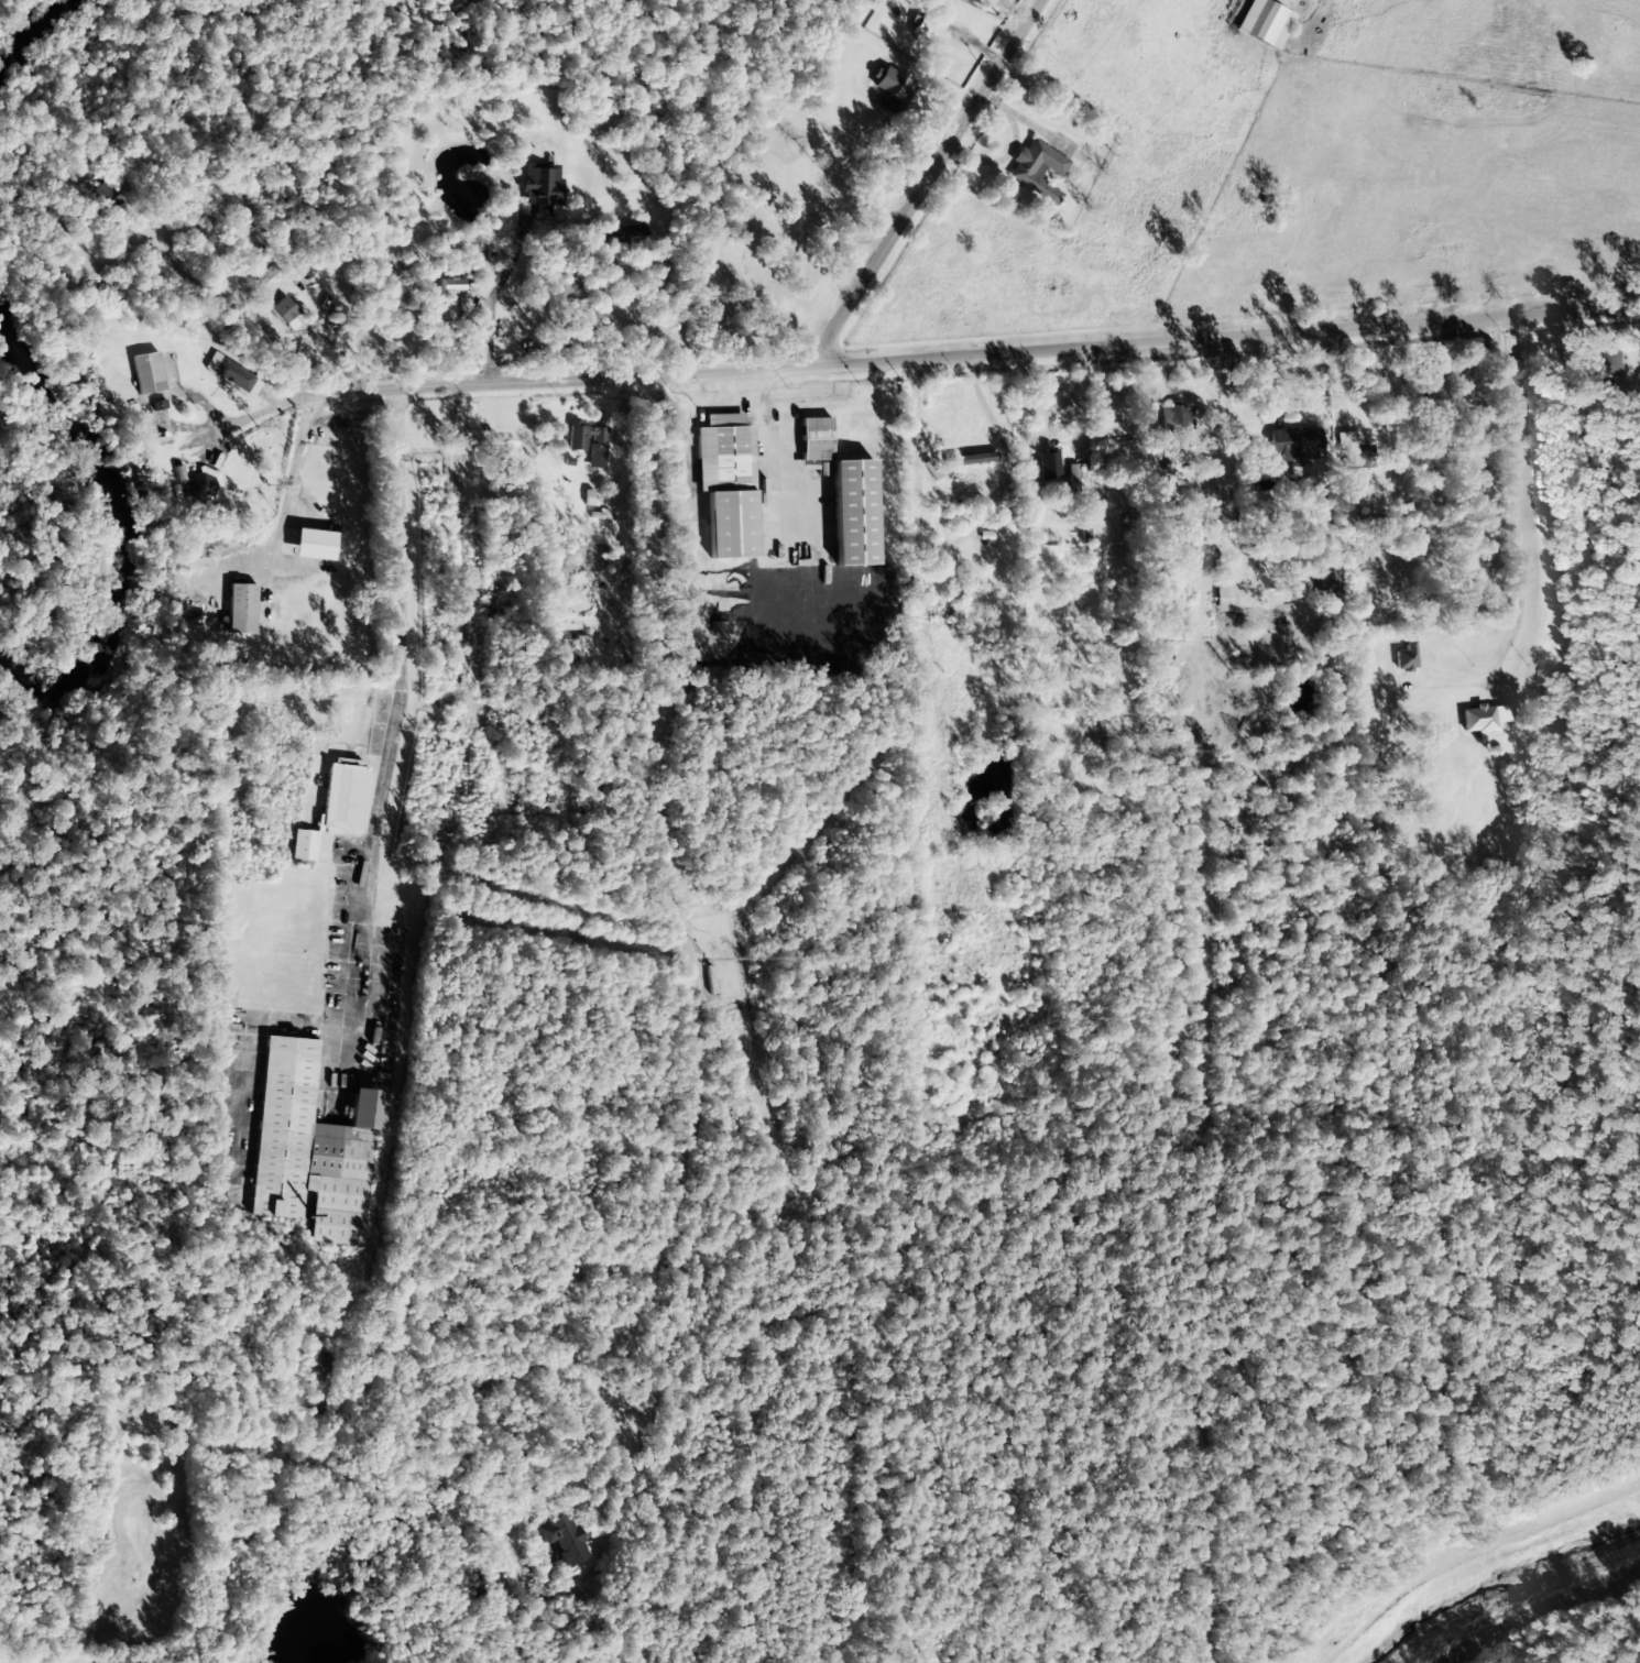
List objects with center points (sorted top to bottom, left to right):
building: (1265, 23)
building: (931, 24)
river: (33, 31)
building: (890, 91)
building: (1037, 169)
road: (925, 184)
building: (540, 185)
building: (106, 199)
building: (626, 234)
building: (449, 285)
building: (284, 310)
road: (981, 357)
building: (1523, 363)
building: (146, 373)
building: (229, 373)
building: (1177, 417)
building: (814, 439)
building: (576, 444)
building: (1290, 447)
building: (1354, 451)
building: (1036, 463)
building: (931, 470)
building: (1071, 474)
building: (205, 483)
building: (726, 484)
building: (954, 488)
road: (285, 490)
road: (627, 495)
building: (853, 513)
river: (123, 529)
road: (1509, 535)
road: (459, 544)
building: (314, 545)
building: (1222, 599)
building: (241, 609)
building: (1406, 657)
road: (662, 672)
building: (1484, 719)
road: (390, 738)
building: (334, 810)
building: (310, 1148)
building: (318, 1366)
building: (564, 1540)

